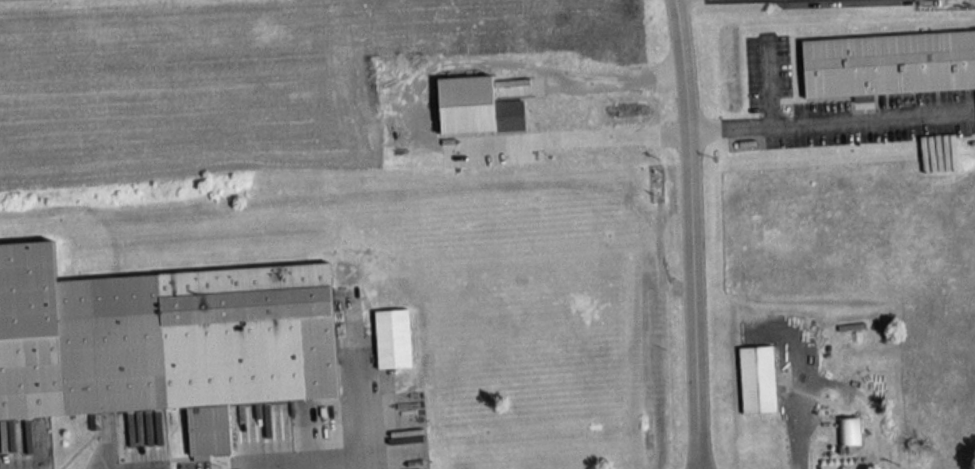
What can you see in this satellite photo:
building: (888, 63)
road: (768, 82)
building: (475, 105)
road: (418, 107)
road: (823, 120)
road: (690, 234)
building: (392, 337)
building: (162, 340)
building: (757, 378)
road: (362, 412)
building: (848, 430)

